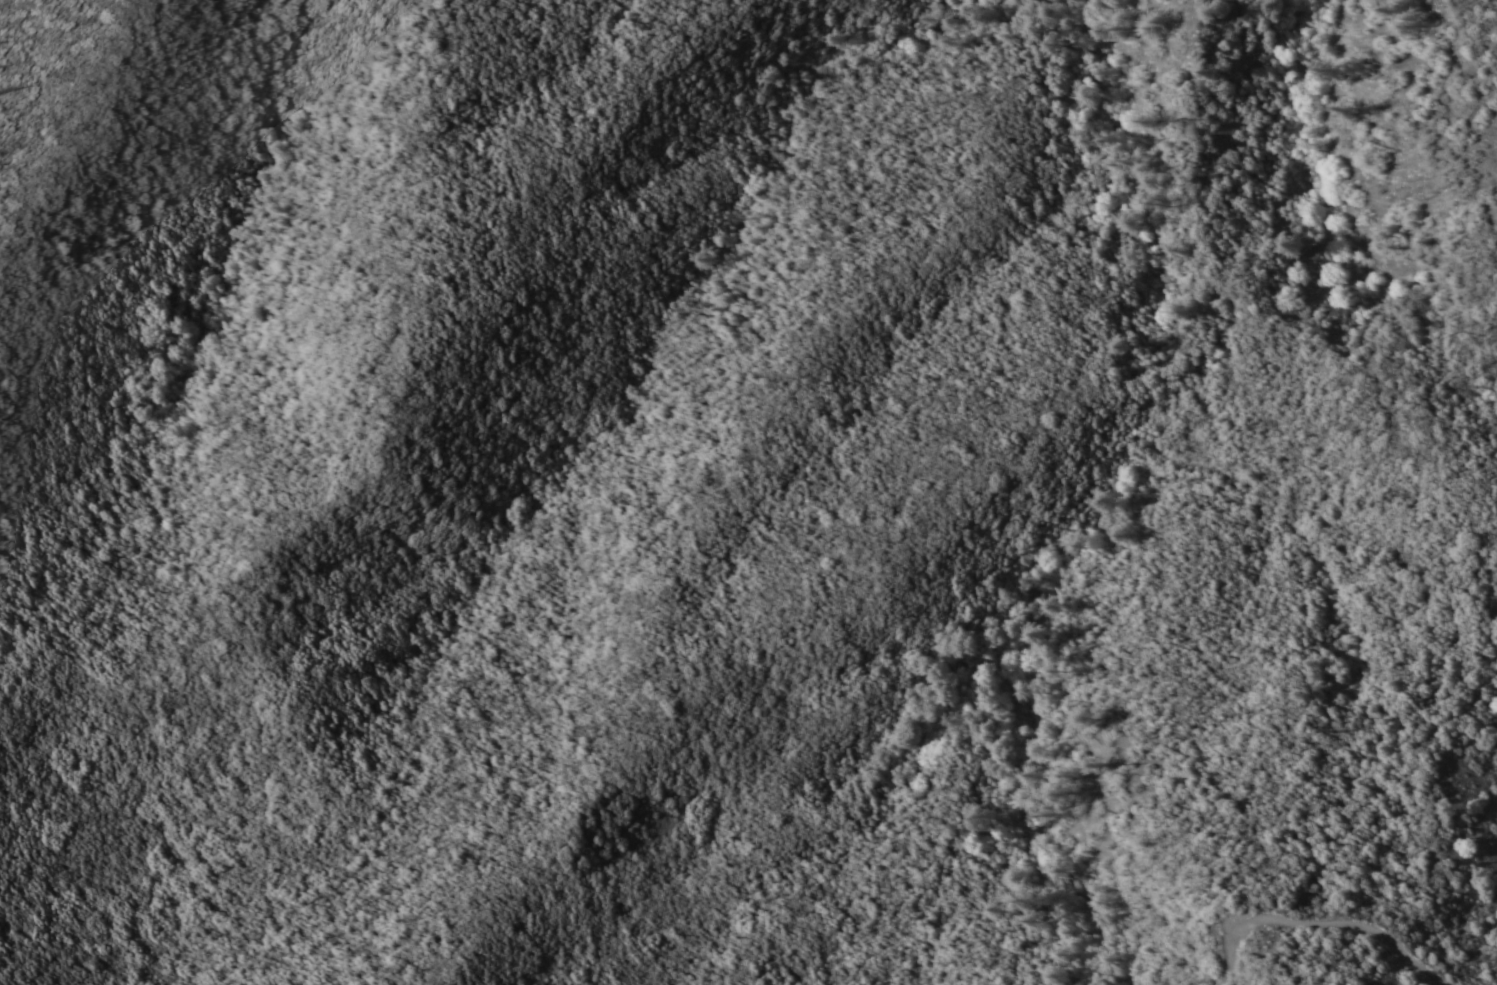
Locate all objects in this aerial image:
road: (1327, 922)

